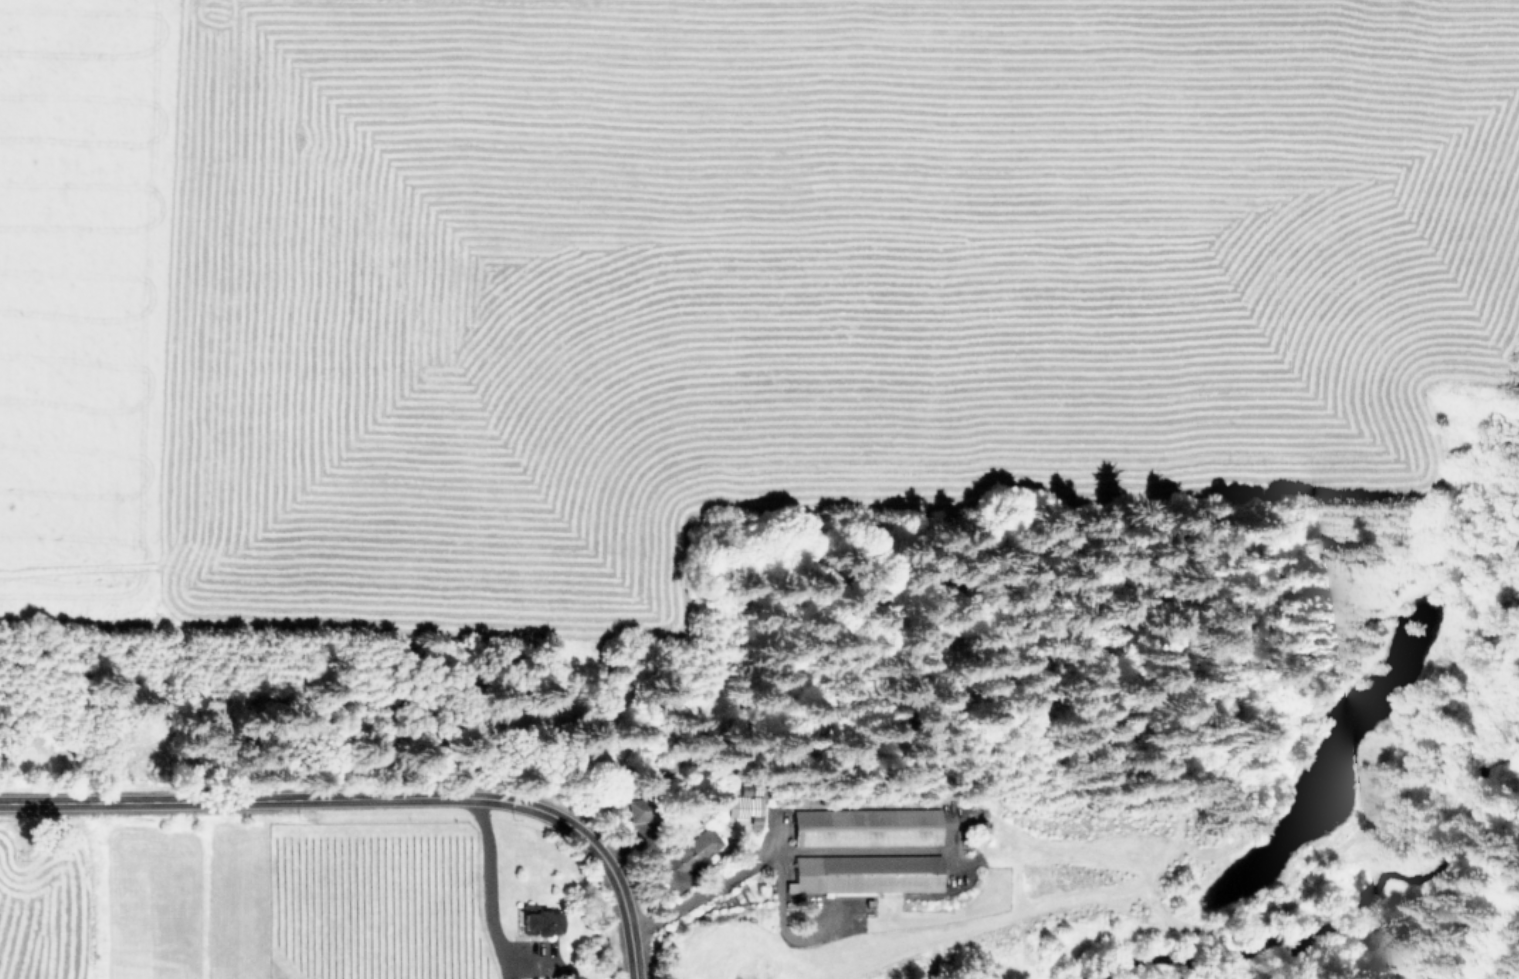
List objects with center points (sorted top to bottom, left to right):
crop: (700, 277)
road: (334, 798)
building: (744, 802)
road: (56, 803)
building: (634, 808)
building: (691, 850)
road: (777, 851)
building: (865, 872)
road: (616, 885)
river: (1386, 888)
road: (484, 889)
building: (538, 921)
road: (782, 923)
crop: (1, 978)

